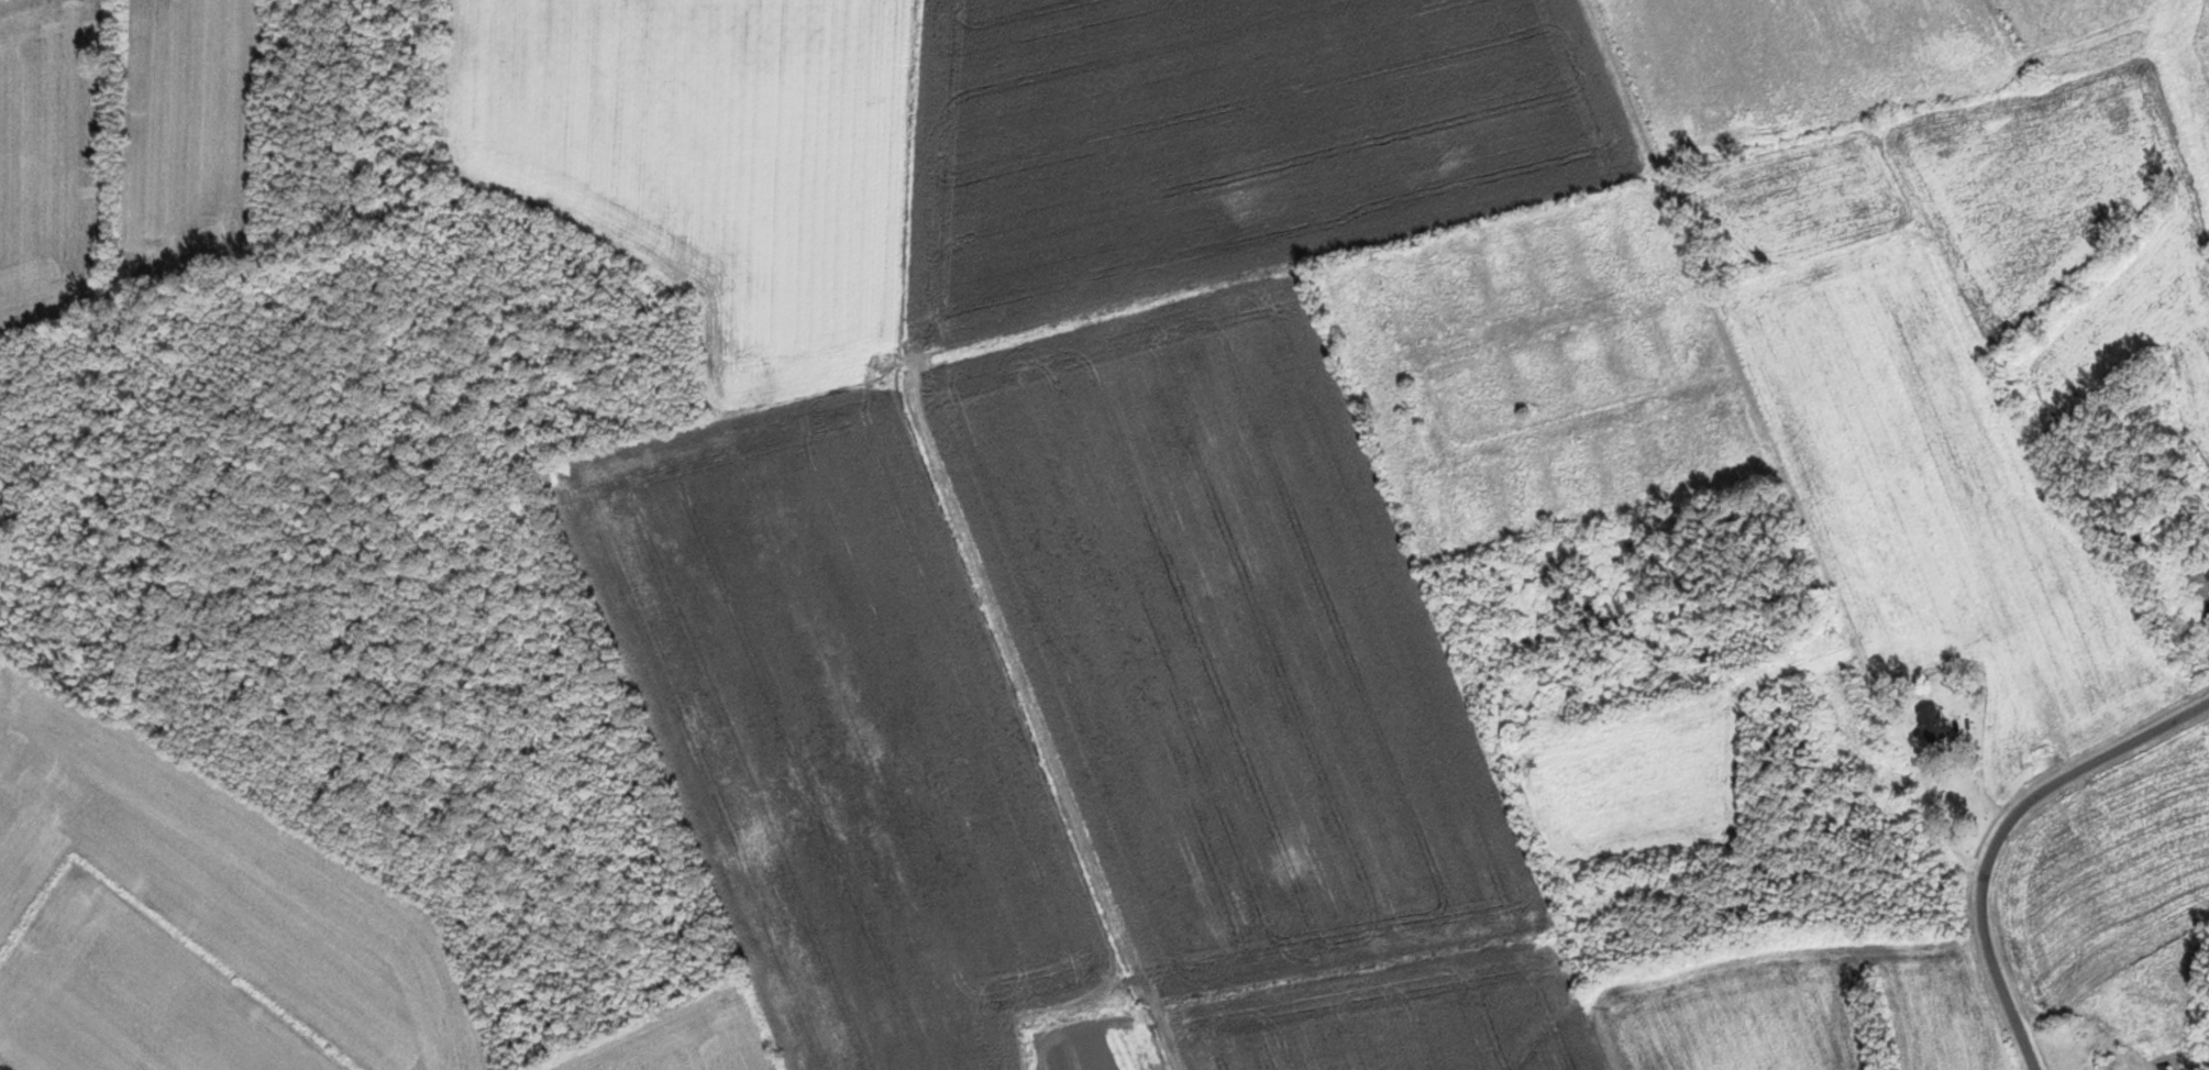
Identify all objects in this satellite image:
building: (2199, 594)
building: (1932, 721)
road: (2002, 834)

